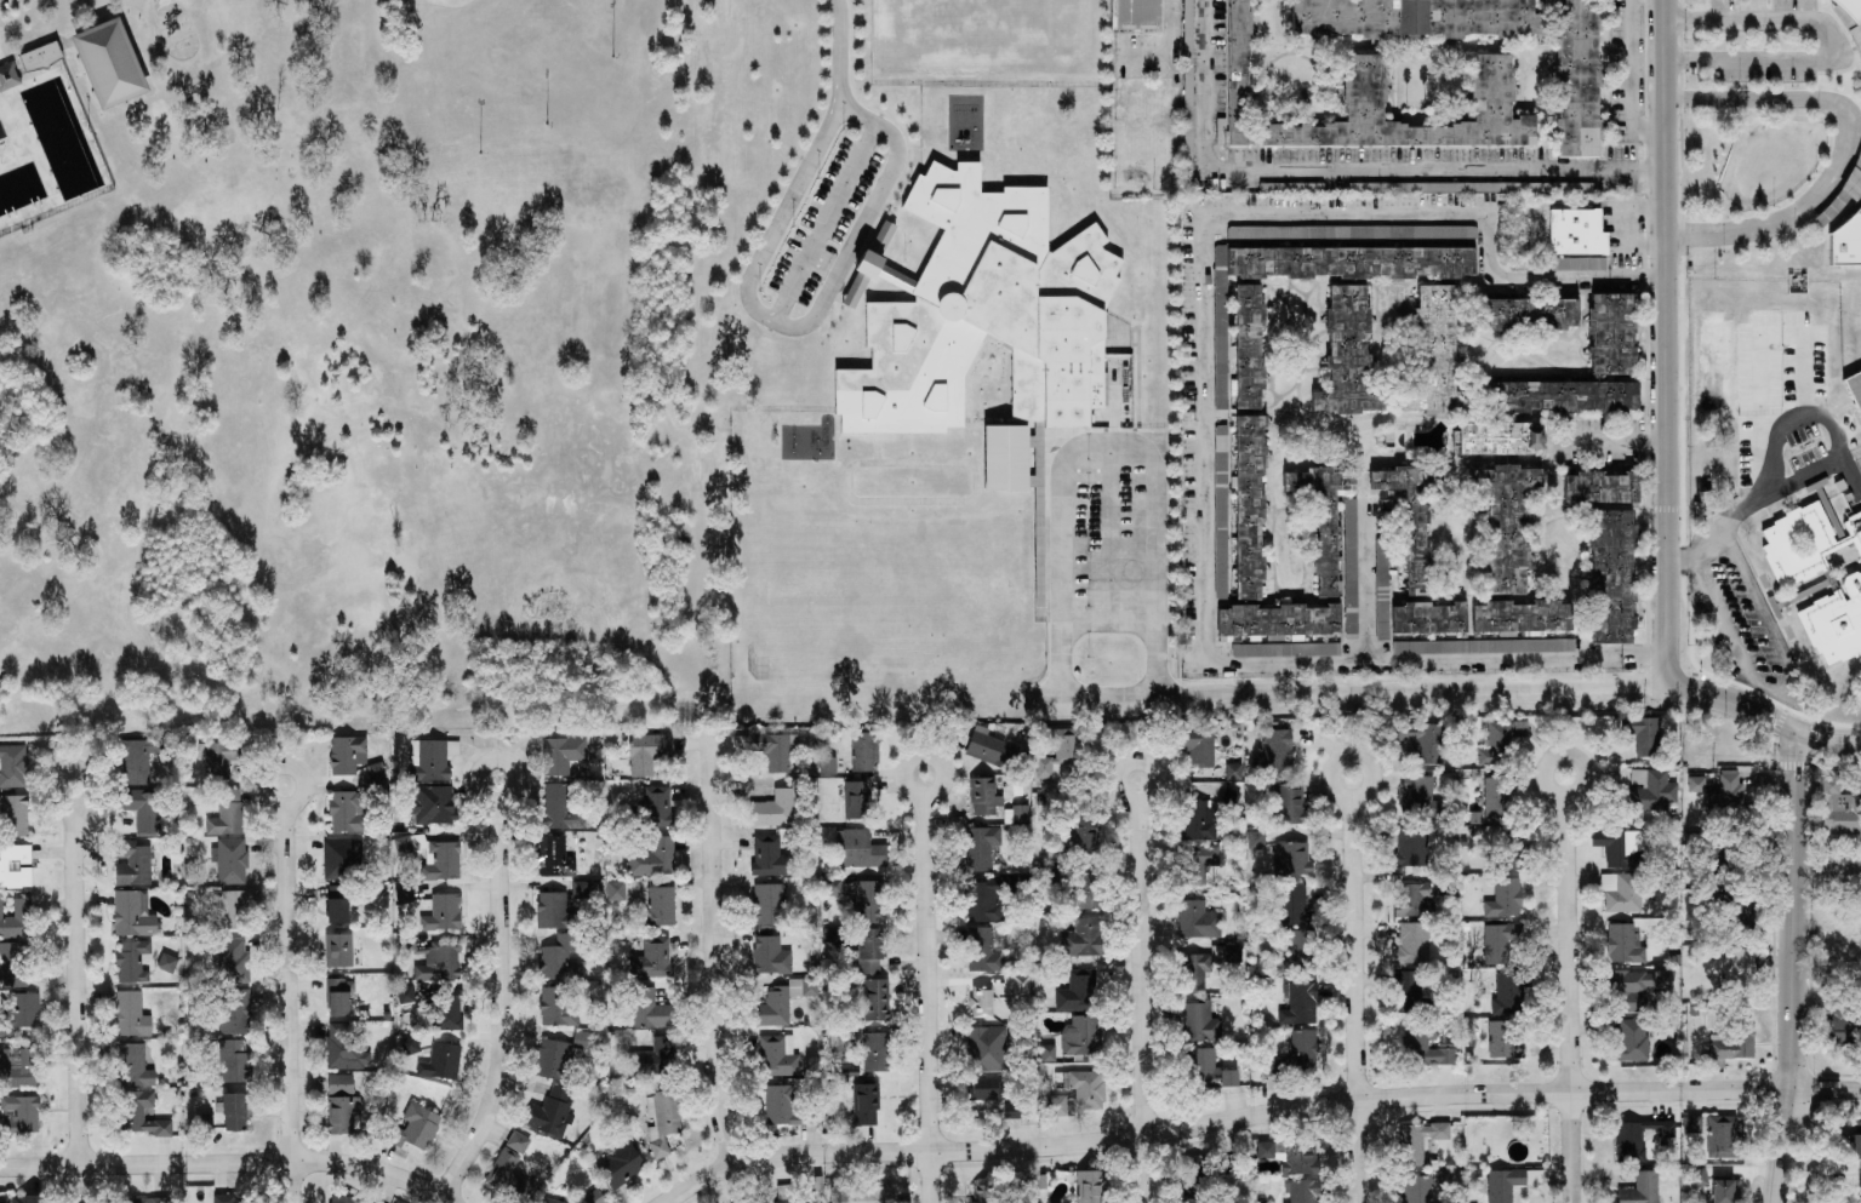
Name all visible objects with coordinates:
building: (1851, 10)
building: (1136, 15)
building: (1414, 17)
road: (1839, 40)
road: (837, 48)
road: (1170, 48)
building: (28, 62)
building: (109, 63)
park: (109, 63)
park: (499, 65)
building: (1237, 74)
building: (1577, 78)
road: (1632, 85)
building: (1490, 86)
building: (1220, 130)
road: (1846, 149)
road: (1353, 171)
building: (1290, 187)
building: (1460, 187)
road: (822, 220)
building: (1575, 233)
building: (1844, 242)
road: (851, 254)
building: (1348, 262)
building: (1580, 263)
building: (1526, 311)
building: (988, 323)
road: (793, 326)
building: (1609, 333)
building: (1220, 337)
road: (1667, 340)
building: (1245, 346)
building: (1345, 351)
building: (1432, 354)
park: (352, 366)
building: (1854, 391)
building: (1562, 395)
road: (1206, 409)
building: (1496, 437)
road: (1614, 440)
road: (1106, 441)
road: (1837, 441)
building: (1598, 487)
road: (959, 500)
building: (1246, 506)
building: (1409, 517)
building: (1320, 519)
building: (1503, 525)
road: (1111, 531)
road: (1722, 534)
building: (1609, 577)
road: (1365, 585)
building: (1850, 588)
building: (1381, 590)
park: (883, 603)
building: (1519, 615)
building: (1426, 617)
building: (1277, 619)
road: (1108, 620)
building: (1484, 646)
road: (1787, 687)
road: (1353, 689)
road: (1743, 691)
road: (1736, 704)
building: (1646, 737)
building: (1423, 740)
building: (1500, 740)
building: (1197, 741)
road: (1829, 743)
building: (769, 747)
building: (991, 749)
building: (863, 750)
building: (647, 751)
building: (1274, 751)
building: (1060, 752)
building: (347, 754)
building: (561, 754)
building: (139, 756)
building: (221, 757)
building: (430, 758)
building: (13, 766)
building: (1233, 771)
building: (375, 772)
building: (1696, 784)
building: (1652, 789)
building: (1416, 794)
building: (981, 795)
building: (1725, 796)
building: (1495, 797)
building: (856, 798)
building: (433, 803)
building: (1288, 803)
building: (656, 804)
building: (772, 809)
building: (143, 810)
building: (347, 810)
building: (1844, 812)
building: (227, 813)
building: (1015, 813)
building: (16, 814)
building: (1083, 836)
building: (1255, 838)
building: (1199, 841)
building: (1414, 844)
building: (980, 847)
building: (1619, 847)
building: (860, 849)
building: (432, 855)
building: (769, 855)
building: (554, 857)
building: (652, 857)
building: (341, 859)
building: (1292, 859)
building: (230, 860)
building: (15, 865)
building: (133, 865)
road: (1828, 871)
building: (833, 886)
building: (1084, 890)
building: (1626, 892)
building: (580, 893)
building: (404, 894)
building: (986, 898)
building: (1503, 898)
building: (1412, 900)
building: (240, 901)
building: (868, 901)
building: (767, 903)
building: (336, 904)
building: (660, 905)
building: (1292, 905)
building: (552, 909)
road: (1796, 911)
building: (443, 912)
building: (132, 913)
building: (16, 920)
building: (1197, 920)
building: (1081, 938)
building: (1498, 940)
building: (1411, 944)
building: (1623, 944)
building: (869, 949)
building: (337, 950)
building: (981, 950)
building: (1297, 952)
road: (708, 953)
building: (770, 955)
building: (652, 957)
building: (558, 958)
building: (233, 959)
building: (131, 961)
building: (1206, 961)
building: (438, 962)
building: (12, 964)
building: (1732, 966)
building: (1021, 985)
building: (803, 986)
building: (1634, 987)
road: (929, 989)
road: (1570, 989)
road: (1354, 990)
building: (1077, 991)
road: (1141, 991)
building: (1406, 991)
building: (1509, 991)
building: (405, 993)
road: (282, 995)
road: (72, 996)
building: (336, 996)
road: (496, 997)
building: (872, 999)
building: (981, 1002)
building: (1300, 1003)
building: (558, 1007)
building: (772, 1007)
building: (649, 1008)
building: (449, 1009)
building: (235, 1010)
building: (130, 1014)
building: (1201, 1021)
building: (1845, 1026)
building: (1503, 1039)
building: (1631, 1039)
building: (1734, 1042)
building: (410, 1043)
building: (1425, 1046)
building: (344, 1047)
building: (986, 1048)
building: (1303, 1049)
building: (874, 1052)
building: (559, 1055)
building: (777, 1055)
building: (653, 1059)
building: (234, 1060)
building: (440, 1061)
building: (131, 1065)
building: (1278, 1066)
building: (18, 1069)
building: (1208, 1070)
building: (339, 1084)
building: (986, 1088)
building: (1085, 1089)
building: (864, 1104)
building: (784, 1106)
building: (1052, 1106)
building: (235, 1111)
building: (549, 1112)
building: (19, 1113)
building: (341, 1113)
road: (1256, 1113)
building: (139, 1115)
building: (662, 1121)
building: (1691, 1123)
building: (413, 1128)
building: (1409, 1136)
building: (1638, 1136)
building: (1723, 1138)
road: (1806, 1145)
road: (1780, 1146)
building: (1854, 1146)
building: (1288, 1156)
building: (628, 1159)
road: (226, 1164)
building: (509, 1169)
building: (1697, 1178)
building: (1509, 1182)
building: (1089, 1186)
building: (1860, 1186)
building: (1417, 1188)
building: (1640, 1188)
building: (1302, 1191)
building: (1724, 1191)
building: (982, 1193)
building: (866, 1195)
building: (593, 1197)
building: (19, 1198)
building: (227, 1198)
building: (148, 1199)
building: (346, 1199)
building: (797, 1199)
building: (559, 1201)
building: (759, 1202)

